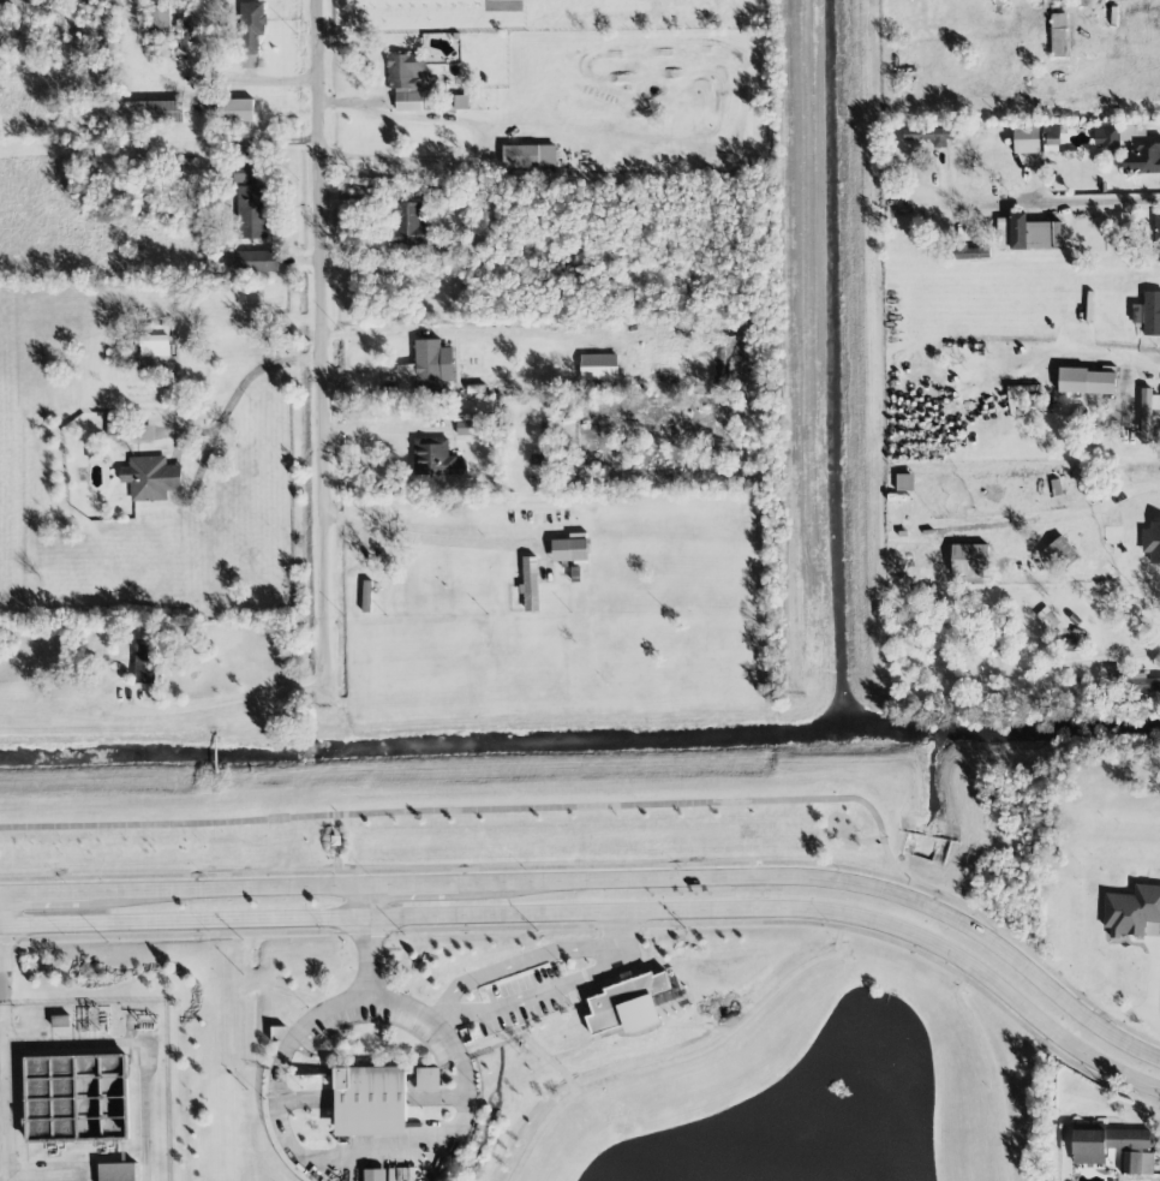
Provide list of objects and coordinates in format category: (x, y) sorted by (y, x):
building: (159, 18)
building: (250, 32)
building: (1059, 35)
road: (253, 78)
building: (408, 80)
building: (235, 111)
building: (149, 112)
building: (86, 113)
building: (1052, 135)
building: (928, 136)
building: (1106, 138)
building: (1027, 139)
building: (530, 156)
building: (1142, 156)
road: (401, 157)
building: (244, 174)
road: (1090, 202)
building: (251, 211)
building: (409, 223)
building: (1027, 233)
building: (1158, 235)
building: (967, 251)
building: (256, 261)
building: (1148, 314)
road: (383, 333)
road: (319, 339)
building: (155, 341)
road: (1112, 358)
building: (429, 366)
building: (599, 366)
building: (1087, 381)
road: (237, 394)
building: (1148, 413)
road: (383, 433)
building: (140, 434)
building: (436, 459)
building: (151, 478)
road: (1100, 505)
road: (421, 538)
building: (1152, 542)
building: (569, 549)
building: (1059, 555)
building: (969, 559)
building: (530, 583)
building: (1047, 619)
building: (1069, 645)
building: (144, 661)
road: (1047, 664)
building: (1112, 678)
building: (1143, 684)
road: (229, 699)
road: (471, 793)
road: (437, 870)
road: (832, 883)
road: (411, 888)
road: (229, 891)
road: (47, 895)
road: (366, 903)
building: (1131, 911)
road: (599, 917)
road: (455, 930)
road: (1023, 946)
road: (515, 962)
road: (550, 985)
road: (1148, 996)
building: (636, 1006)
road: (1120, 1016)
road: (1030, 1032)
parking lot: (310, 1036)
road: (1, 1038)
road: (65, 1044)
road: (5, 1051)
building: (429, 1079)
road: (2, 1092)
building: (78, 1098)
road: (371, 1098)
building: (370, 1101)
road: (145, 1104)
building: (1106, 1144)
road: (331, 1158)
building: (1136, 1163)
building: (116, 1171)
building: (375, 1175)

